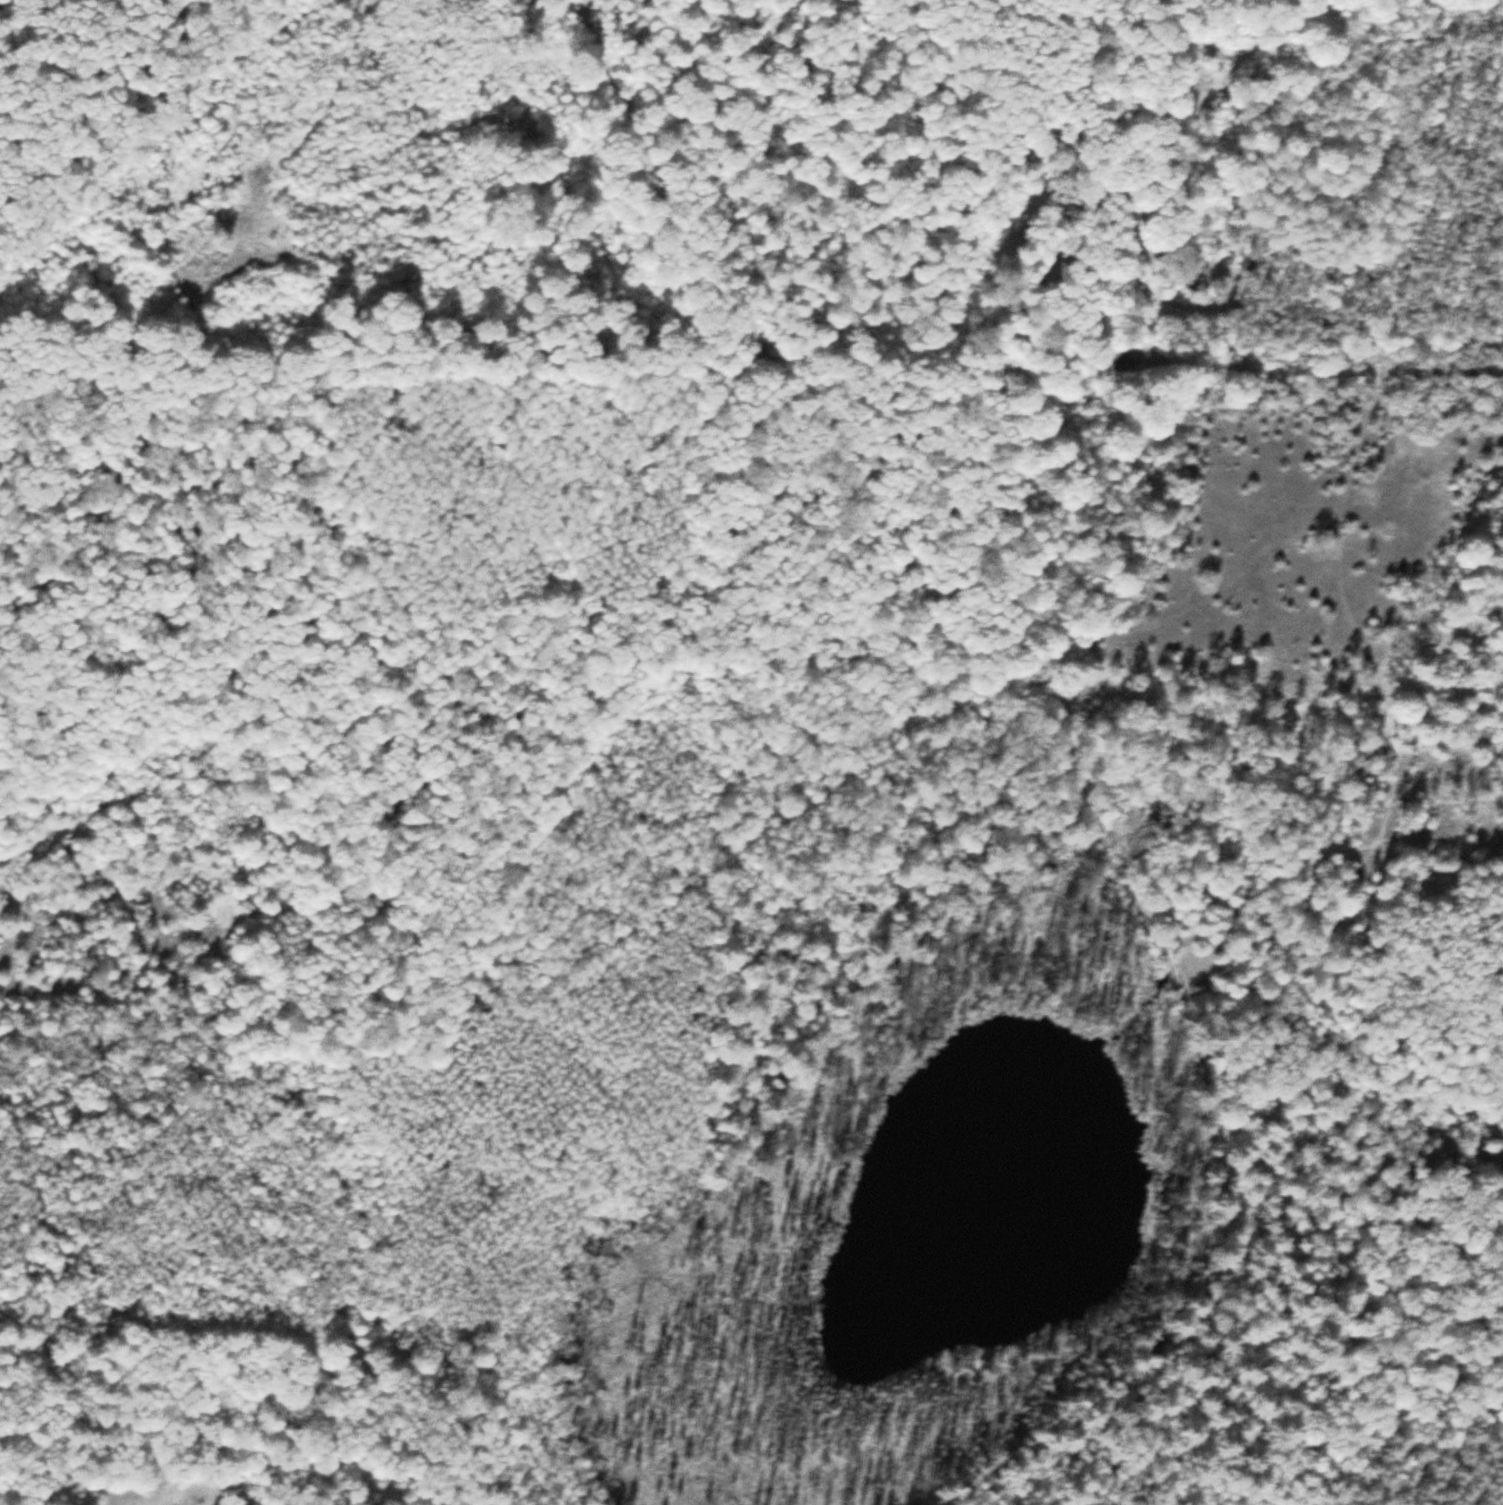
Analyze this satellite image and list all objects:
road: (1137, 368)
road: (328, 584)

